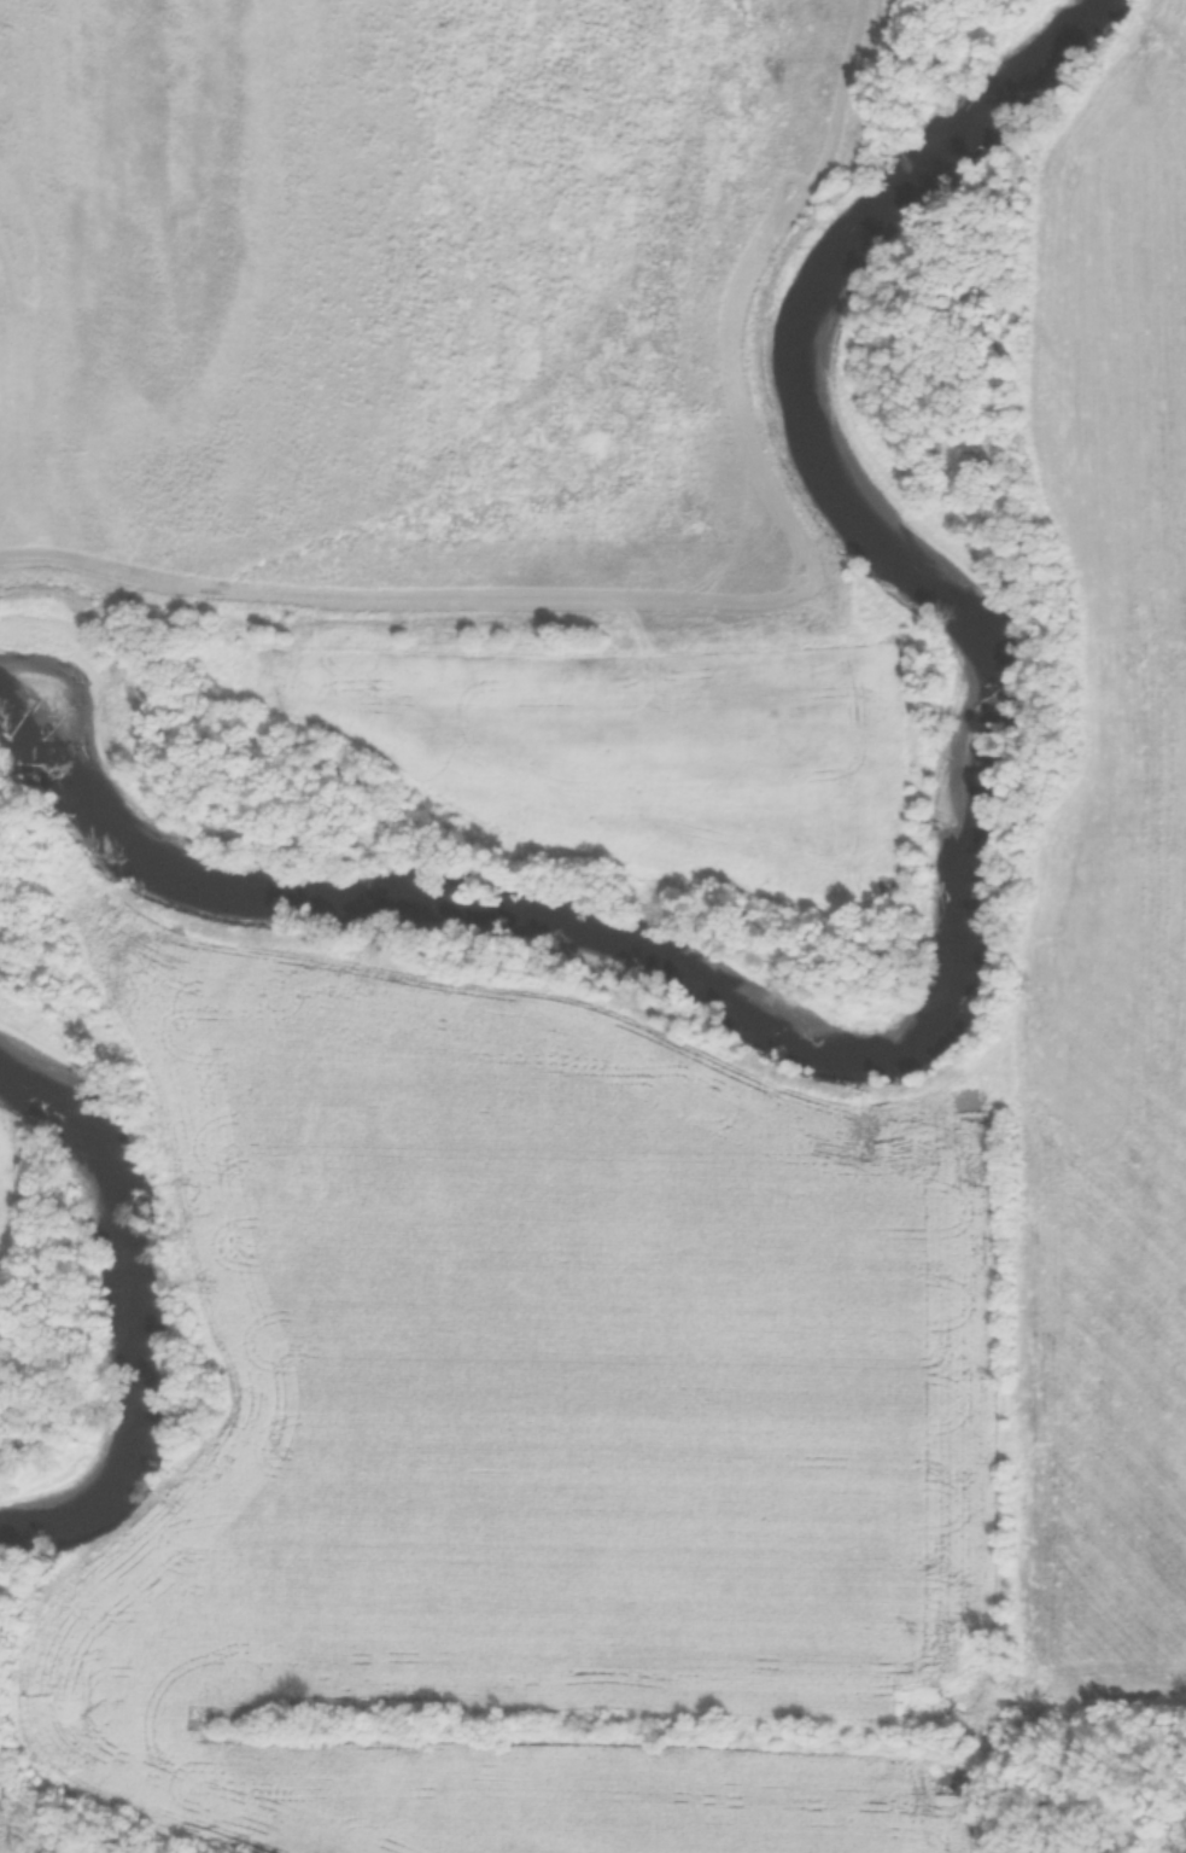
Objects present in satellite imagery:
river: (964, 966)
river: (128, 1303)

